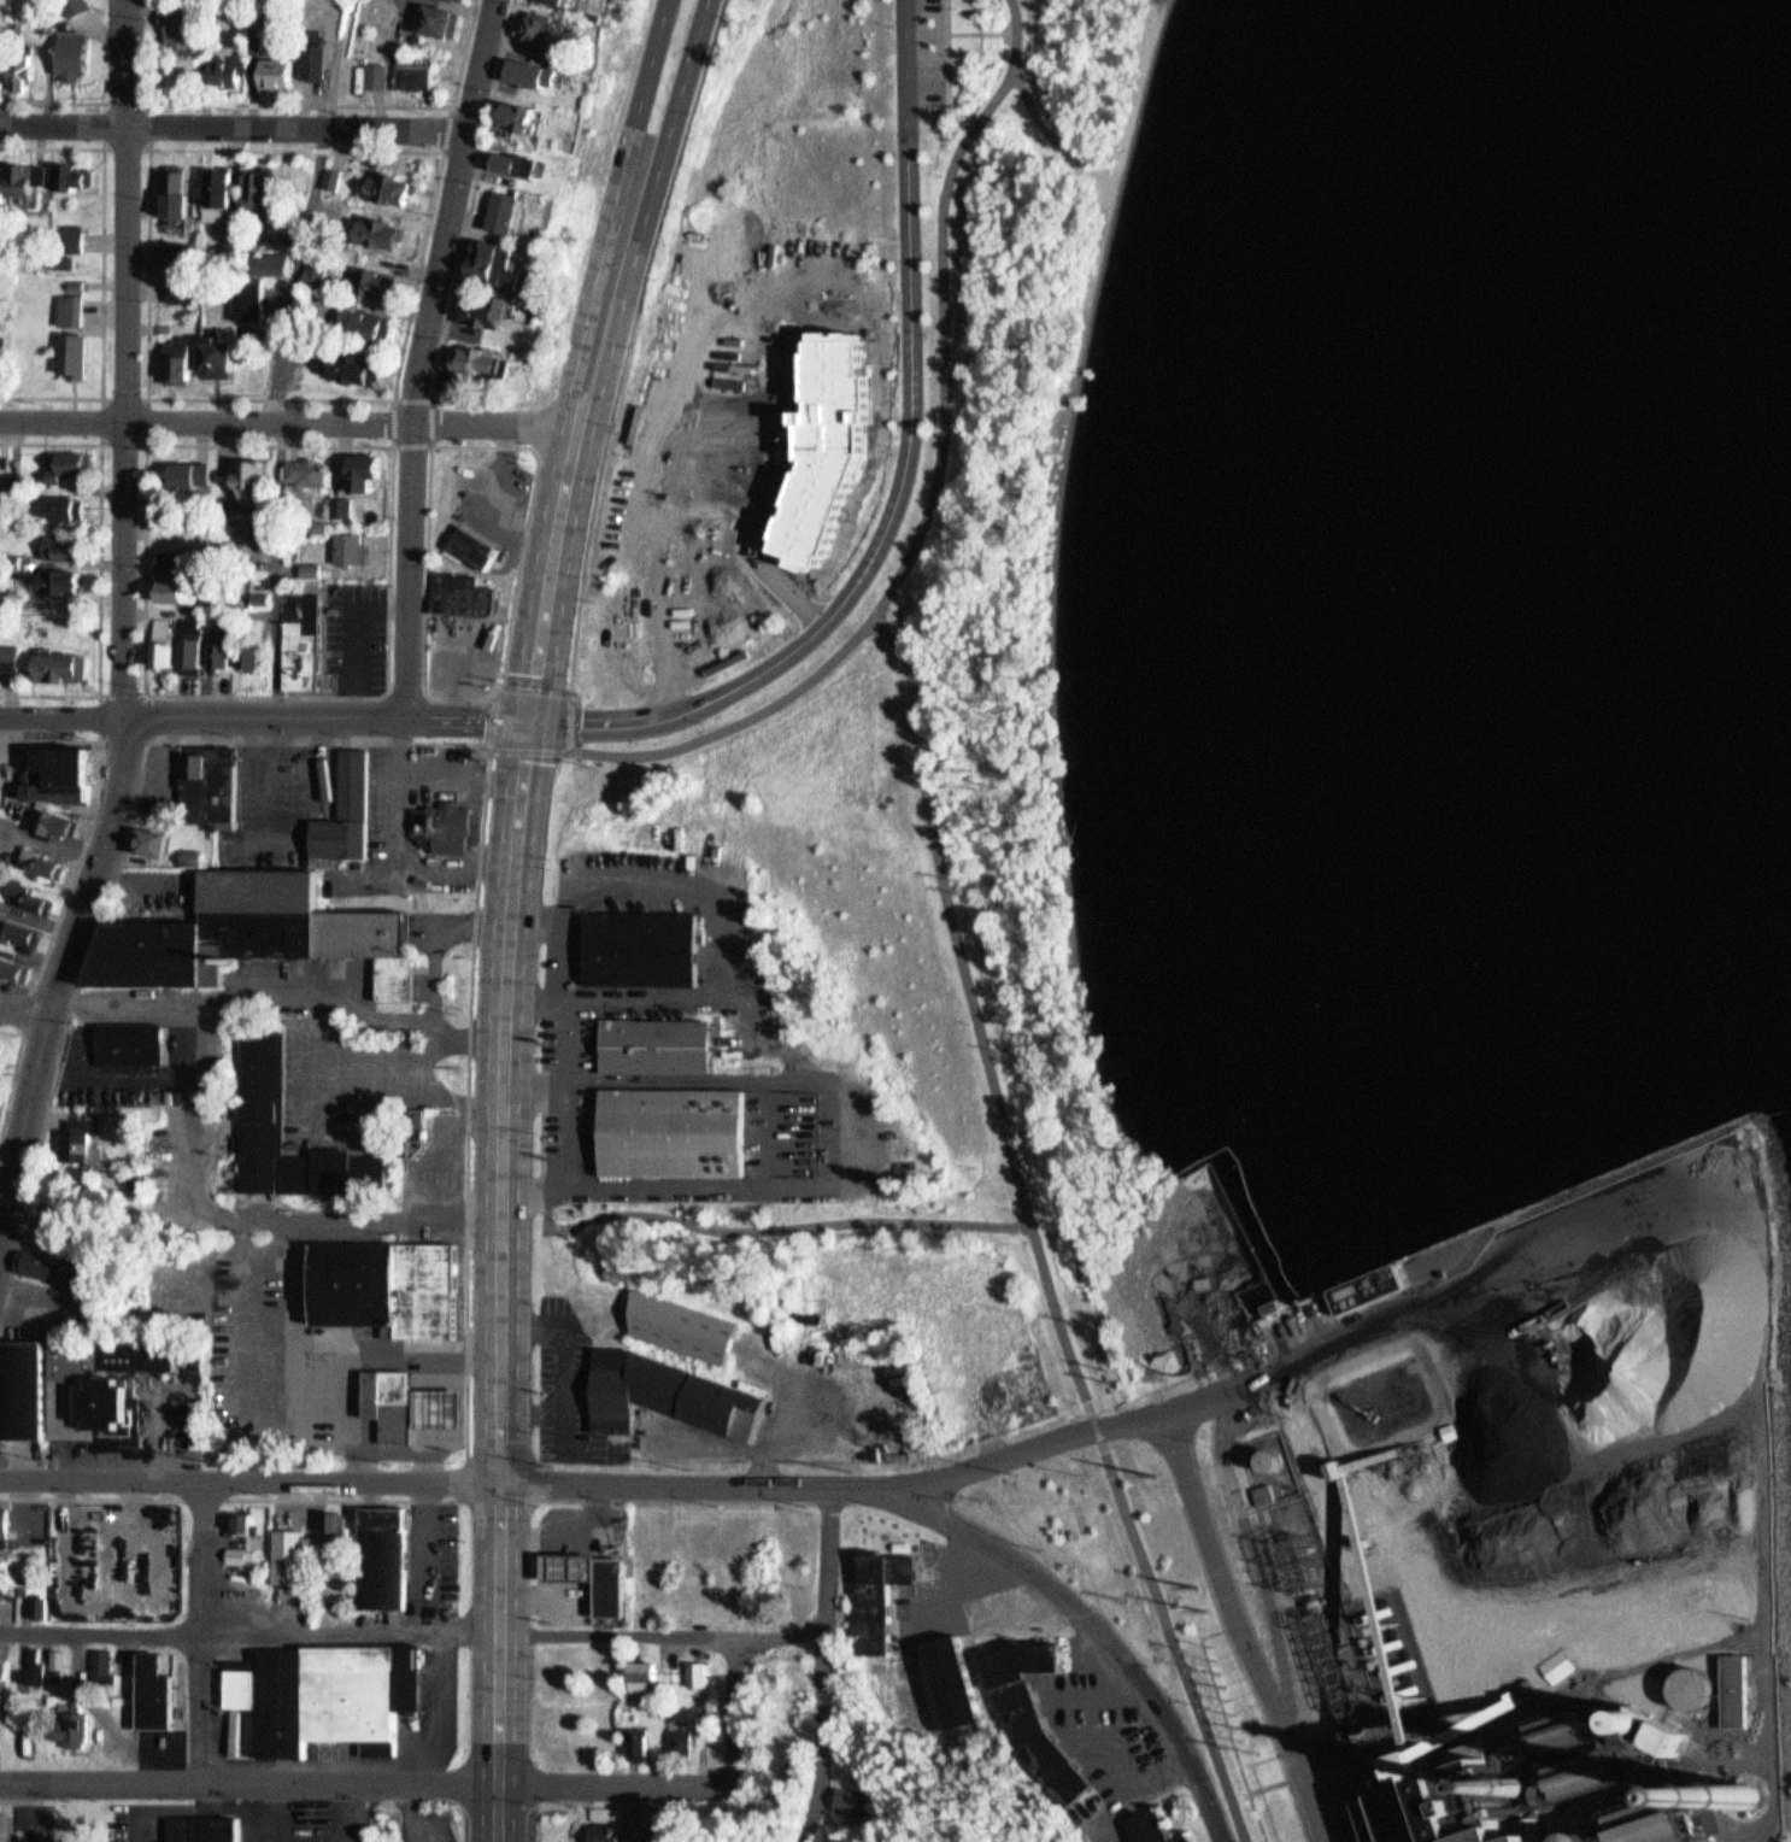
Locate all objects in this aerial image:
building: (459, 0)
building: (465, 0)
building: (562, 1)
building: (177, 20)
building: (445, 20)
building: (548, 29)
road: (926, 33)
road: (981, 34)
parking lot: (928, 53)
road: (947, 54)
building: (76, 55)
building: (316, 60)
building: (1, 63)
building: (224, 72)
building: (277, 72)
building: (182, 75)
building: (378, 75)
building: (415, 75)
building: (539, 75)
road: (53, 100)
road: (638, 102)
road: (356, 104)
road: (677, 106)
road: (453, 107)
building: (529, 118)
road: (1027, 118)
road: (234, 125)
road: (106, 148)
road: (422, 148)
building: (518, 164)
building: (75, 174)
building: (335, 176)
building: (28, 177)
building: (2, 184)
building: (392, 186)
building: (265, 188)
building: (183, 193)
building: (224, 194)
road: (472, 198)
building: (510, 210)
building: (387, 230)
building: (70, 245)
building: (184, 254)
building: (489, 256)
building: (318, 269)
road: (104, 270)
building: (256, 281)
building: (77, 282)
building: (380, 282)
building: (183, 288)
road: (944, 307)
building: (491, 309)
building: (72, 310)
building: (364, 321)
road: (628, 341)
building: (75, 353)
road: (419, 353)
building: (219, 354)
building: (184, 357)
road: (125, 358)
building: (480, 358)
building: (352, 359)
building: (0, 360)
road: (289, 421)
road: (146, 444)
road: (394, 445)
building: (817, 445)
road: (879, 447)
building: (1, 458)
road: (571, 461)
building: (69, 463)
building: (369, 468)
building: (315, 471)
building: (192, 474)
building: (16, 477)
building: (258, 477)
road: (902, 480)
building: (70, 506)
building: (345, 506)
building: (4, 509)
road: (738, 511)
building: (164, 517)
building: (323, 524)
building: (246, 526)
building: (66, 542)
building: (472, 546)
building: (356, 547)
building: (174, 557)
building: (5, 559)
road: (100, 568)
building: (315, 568)
building: (64, 579)
building: (181, 586)
building: (465, 593)
building: (264, 596)
building: (306, 633)
building: (168, 640)
building: (195, 650)
building: (10, 651)
building: (227, 651)
building: (258, 651)
building: (65, 663)
road: (503, 680)
road: (506, 690)
road: (387, 692)
road: (409, 693)
road: (60, 716)
road: (327, 716)
traffic signals: (530, 717)
road: (740, 722)
road: (146, 739)
road: (100, 740)
road: (364, 741)
road: (492, 747)
road: (562, 749)
building: (65, 765)
building: (6, 767)
building: (212, 788)
building: (166, 808)
building: (351, 810)
building: (58, 820)
road: (93, 822)
building: (447, 826)
building: (155, 841)
building: (193, 856)
building: (43, 858)
building: (35, 894)
road: (546, 920)
building: (301, 926)
building: (22, 928)
road: (438, 946)
building: (648, 946)
building: (151, 954)
building: (16, 963)
road: (59, 980)
road: (726, 984)
road: (251, 991)
road: (25, 1008)
road: (27, 1011)
road: (579, 1037)
building: (135, 1043)
building: (659, 1045)
road: (146, 1077)
building: (266, 1085)
road: (540, 1086)
road: (11, 1090)
road: (419, 1090)
building: (675, 1132)
road: (544, 1134)
building: (92, 1151)
building: (457, 1151)
building: (457, 1177)
road: (687, 1192)
road: (523, 1197)
road: (14, 1198)
road: (4, 1213)
road: (315, 1216)
road: (545, 1216)
road: (788, 1232)
road: (1034, 1234)
road: (503, 1251)
building: (45, 1263)
building: (93, 1268)
building: (387, 1284)
building: (1361, 1296)
road: (258, 1316)
building: (683, 1325)
road: (380, 1348)
building: (130, 1385)
building: (28, 1389)
building: (674, 1392)
building: (394, 1403)
building: (446, 1404)
road: (352, 1415)
building: (1372, 1421)
road: (464, 1477)
road: (249, 1479)
road: (889, 1480)
building: (1268, 1492)
road: (92, 1496)
road: (206, 1497)
road: (345, 1497)
building: (7, 1519)
building: (337, 1525)
building: (246, 1529)
building: (239, 1554)
building: (290, 1555)
building: (388, 1556)
building: (0, 1564)
building: (0, 1567)
building: (599, 1578)
building: (877, 1596)
road: (828, 1600)
building: (45, 1607)
road: (202, 1630)
road: (1097, 1630)
road: (101, 1631)
road: (352, 1635)
road: (619, 1639)
building: (52, 1656)
building: (27, 1658)
building: (1, 1661)
building: (105, 1662)
building: (59, 1667)
building: (33, 1668)
building: (699, 1674)
building: (644, 1676)
building: (951, 1682)
building: (158, 1693)
building: (324, 1696)
building: (1033, 1713)
building: (60, 1717)
building: (74, 1729)
building: (685, 1741)
building: (641, 1744)
road: (249, 1783)
road: (682, 1785)
building: (856, 1801)
building: (1456, 1812)
road: (500, 1814)
building: (10, 1825)
building: (209, 1828)
building: (1151, 1828)
building: (610, 1832)
building: (653, 1832)
building: (1625, 1838)

